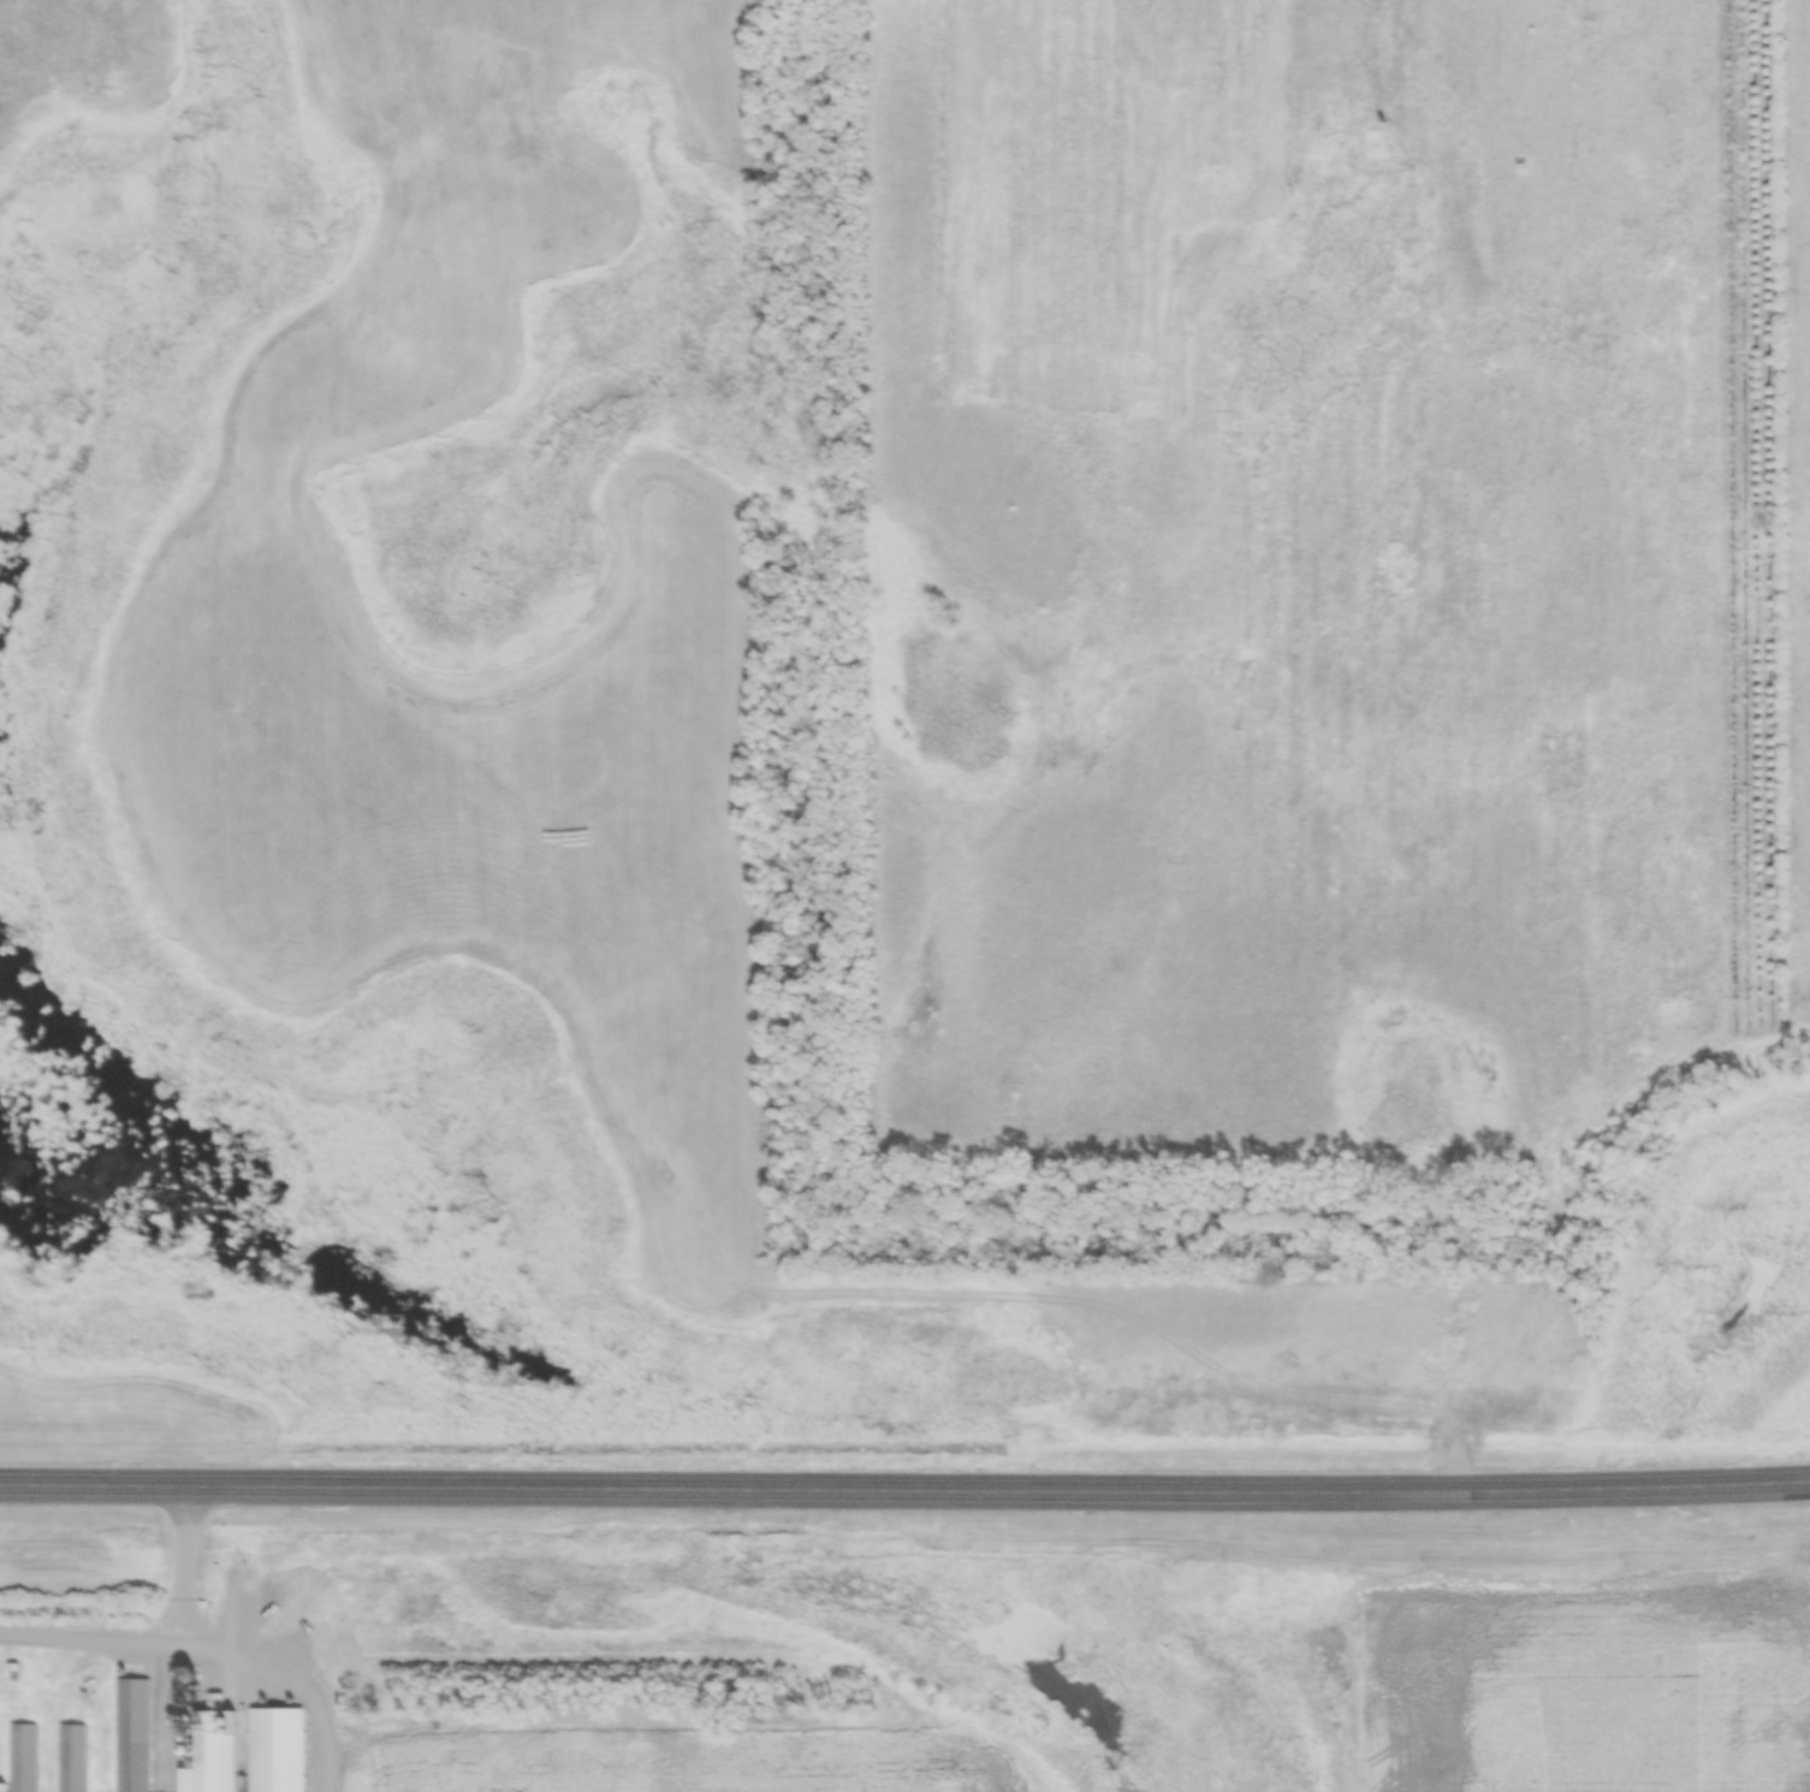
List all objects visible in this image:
road: (904, 1485)
building: (186, 1697)
building: (132, 1735)
building: (277, 1752)
building: (23, 1758)
building: (73, 1758)
building: (1, 1787)

